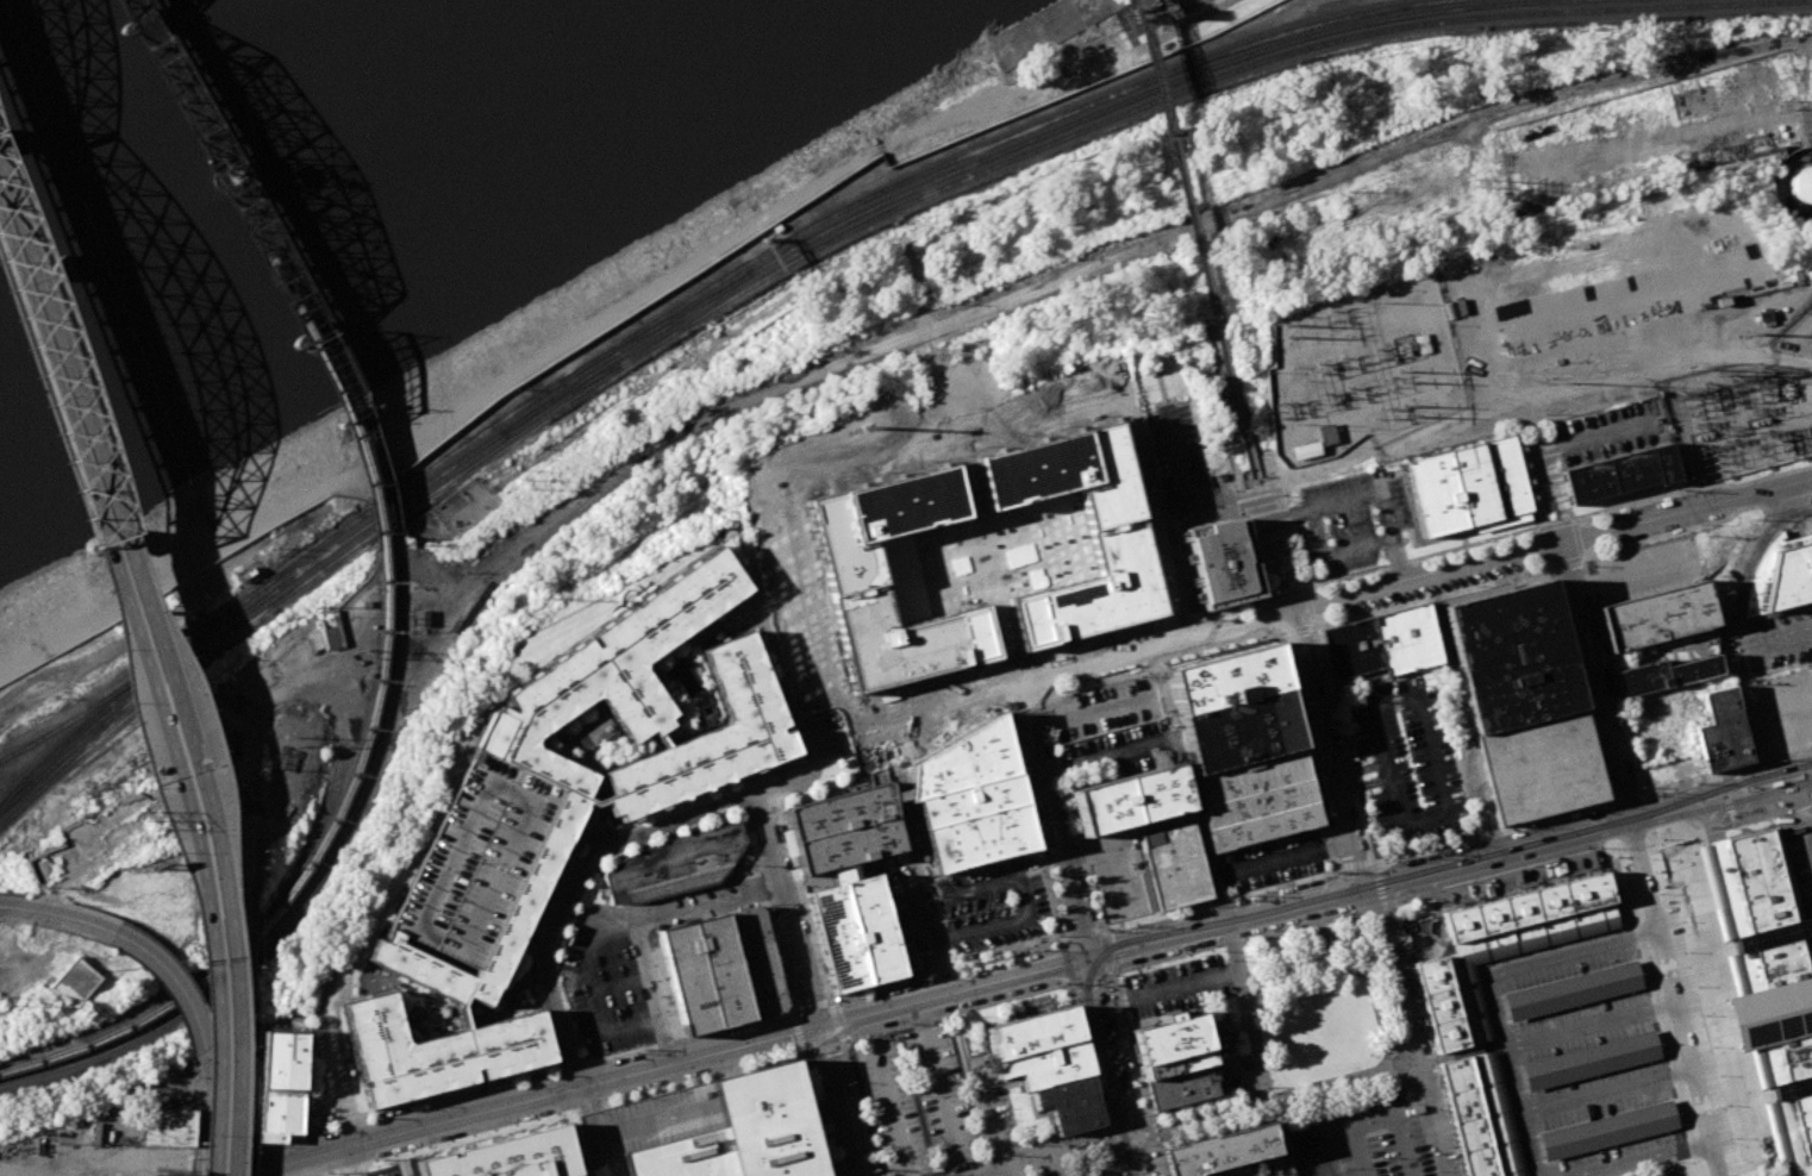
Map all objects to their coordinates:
railway: (143, 8)
railway: (132, 11)
park: (1195, 18)
road: (1185, 25)
building: (1012, 44)
river: (121, 64)
road: (1808, 110)
railway: (233, 175)
railway: (225, 180)
building: (1802, 183)
railway: (832, 238)
road: (1195, 243)
railway: (792, 269)
railway: (714, 283)
railway: (718, 293)
railway: (657, 325)
power tower: (1286, 336)
power tower: (1691, 336)
power tower: (1692, 357)
road: (57, 358)
power substation: (1361, 370)
power tower: (1718, 370)
power tower: (1398, 373)
power tower: (1549, 373)
railway: (596, 376)
power tower: (1722, 386)
power tower: (1698, 390)
road: (48, 394)
power tower: (1405, 401)
power substation: (1737, 423)
power tower: (863, 426)
parking lot: (1605, 432)
railway: (368, 433)
building: (1326, 433)
railway: (358, 438)
road: (1588, 439)
road: (931, 449)
road: (1538, 459)
parking lot: (1179, 462)
building: (1663, 463)
road: (1314, 467)
building: (1630, 469)
building: (1504, 476)
building: (1586, 481)
building: (1472, 483)
road: (1688, 488)
road: (1370, 492)
road: (1188, 493)
building: (1432, 493)
road: (1251, 499)
road: (1557, 505)
road: (1542, 509)
road: (1687, 509)
road: (1794, 512)
parking lot: (1352, 520)
road: (1572, 521)
road: (1551, 523)
road: (1697, 526)
road: (1575, 539)
building: (1116, 542)
road: (1274, 546)
road: (1335, 552)
road: (1254, 556)
road: (1418, 556)
road: (1563, 562)
building: (1224, 563)
parking lot: (1644, 569)
building: (849, 571)
road: (1426, 575)
building: (1789, 576)
parking lot: (1735, 590)
road: (1283, 593)
road: (1738, 594)
power tower: (554, 596)
road: (1307, 605)
road: (1226, 609)
building: (1654, 615)
building: (420, 618)
road: (1268, 618)
road: (1181, 620)
road: (1312, 623)
building: (327, 631)
road: (1314, 632)
building: (1380, 643)
road: (771, 649)
road: (1657, 652)
building: (1511, 656)
road: (1008, 664)
railway: (395, 665)
road: (1608, 674)
building: (1662, 674)
road: (1597, 681)
road: (1576, 683)
road: (1016, 688)
railway: (110, 695)
road: (1044, 699)
road: (1021, 703)
building: (1232, 707)
road: (1083, 709)
road: (950, 723)
building: (1717, 723)
road: (821, 730)
parking lot: (1112, 732)
building: (708, 737)
power tower: (289, 739)
road: (887, 743)
road: (1325, 750)
road: (1302, 751)
building: (963, 761)
parking lot: (1406, 761)
railway: (39, 762)
road: (1094, 762)
building: (1539, 765)
railway: (39, 768)
road: (1358, 769)
road: (1436, 769)
road: (1725, 770)
railway: (1781, 771)
railway: (5, 776)
road: (773, 776)
road: (827, 776)
railway: (1744, 784)
road: (1720, 789)
road: (769, 793)
road: (1624, 797)
road: (738, 799)
building: (1129, 799)
building: (1256, 799)
building: (969, 801)
road: (1722, 803)
road: (660, 815)
road: (1052, 822)
building: (845, 827)
road: (585, 828)
road: (1810, 830)
road: (1487, 831)
building: (979, 836)
road: (217, 845)
road: (246, 846)
road: (194, 849)
road: (1112, 852)
road: (1495, 856)
building: (473, 858)
parking garage: (473, 858)
road: (917, 858)
parking lot: (1798, 858)
parking lot: (1270, 859)
road: (1352, 863)
building: (538, 864)
building: (674, 864)
road: (1252, 864)
building: (1174, 865)
parking lot: (1114, 871)
road: (574, 886)
road: (1376, 886)
railway: (298, 887)
road: (1050, 893)
road: (1021, 897)
railway: (1312, 897)
road: (1217, 899)
road: (802, 901)
road: (11, 906)
parking lot: (994, 906)
road: (767, 911)
road: (1358, 911)
road: (786, 914)
road: (69, 917)
parking lot: (906, 919)
road: (641, 925)
road: (1221, 926)
building: (871, 928)
road: (1075, 932)
building: (837, 938)
road: (1399, 943)
road: (243, 950)
road: (1105, 950)
road: (1066, 959)
building: (756, 962)
parking lot: (621, 965)
road: (942, 968)
road: (1107, 972)
building: (704, 974)
road: (1088, 976)
road: (171, 977)
building: (75, 981)
building: (1769, 981)
railway: (221, 983)
road: (619, 983)
parking lot: (1176, 984)
road: (1185, 986)
building: (1572, 990)
road: (587, 992)
road: (950, 993)
road: (1491, 993)
power tower: (1, 997)
road: (1676, 997)
road: (829, 1005)
road: (1591, 1024)
road: (888, 1028)
road: (798, 1032)
building: (1031, 1032)
building: (1168, 1036)
road: (1416, 1038)
road: (837, 1043)
road: (817, 1046)
road: (1256, 1050)
road: (233, 1058)
building: (1588, 1059)
road: (1430, 1062)
building: (1174, 1063)
building: (1044, 1064)
road: (1106, 1068)
building: (1463, 1069)
road: (215, 1071)
road: (1094, 1071)
road: (511, 1076)
building: (281, 1082)
road: (993, 1082)
building: (1182, 1086)
road: (938, 1088)
road: (1606, 1090)
road: (888, 1095)
road: (1273, 1100)
road: (521, 1101)
road: (836, 1101)
building: (1068, 1102)
parking lot: (931, 1108)
road: (812, 1112)
road: (1379, 1122)
building: (165, 1125)
building: (646, 1125)
parking garage: (646, 1125)
road: (982, 1130)
building: (1607, 1130)
building: (743, 1132)
road: (1329, 1136)
road: (226, 1137)
road: (1123, 1138)
parking lot: (1366, 1138)
road: (1089, 1144)
road: (1058, 1146)
building: (1217, 1151)
building: (504, 1153)
road: (1006, 1155)
road: (1641, 1158)
road: (1026, 1165)
railway: (1123, 1165)
road: (1321, 1168)
road: (1662, 1168)
road: (1117, 1169)
parking lot: (1057, 1170)
road: (1008, 1172)
road: (1754, 1172)
road: (1766, 1172)
building: (1688, 1175)

